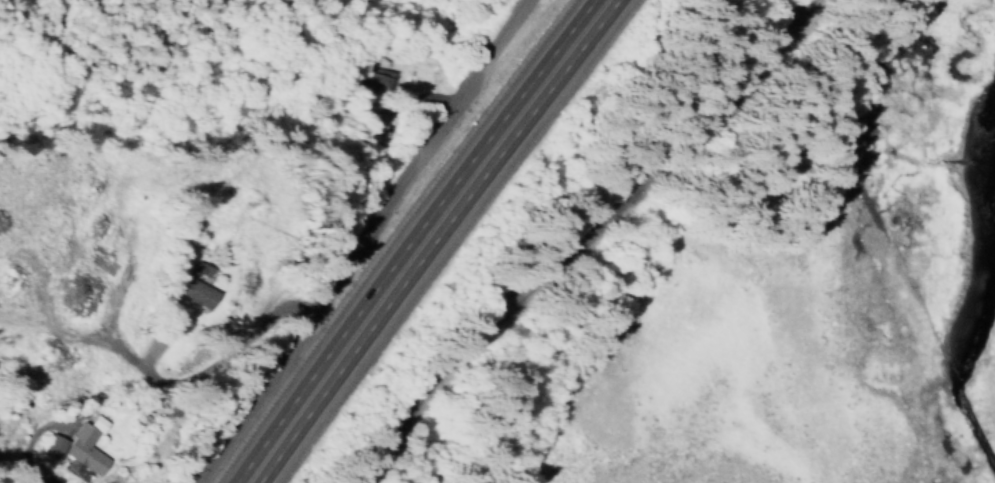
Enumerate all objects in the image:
building: (374, 87)
building: (373, 125)
railway: (586, 234)
road: (428, 238)
road: (366, 240)
building: (204, 271)
building: (194, 291)
building: (95, 425)
building: (50, 448)
building: (79, 454)

